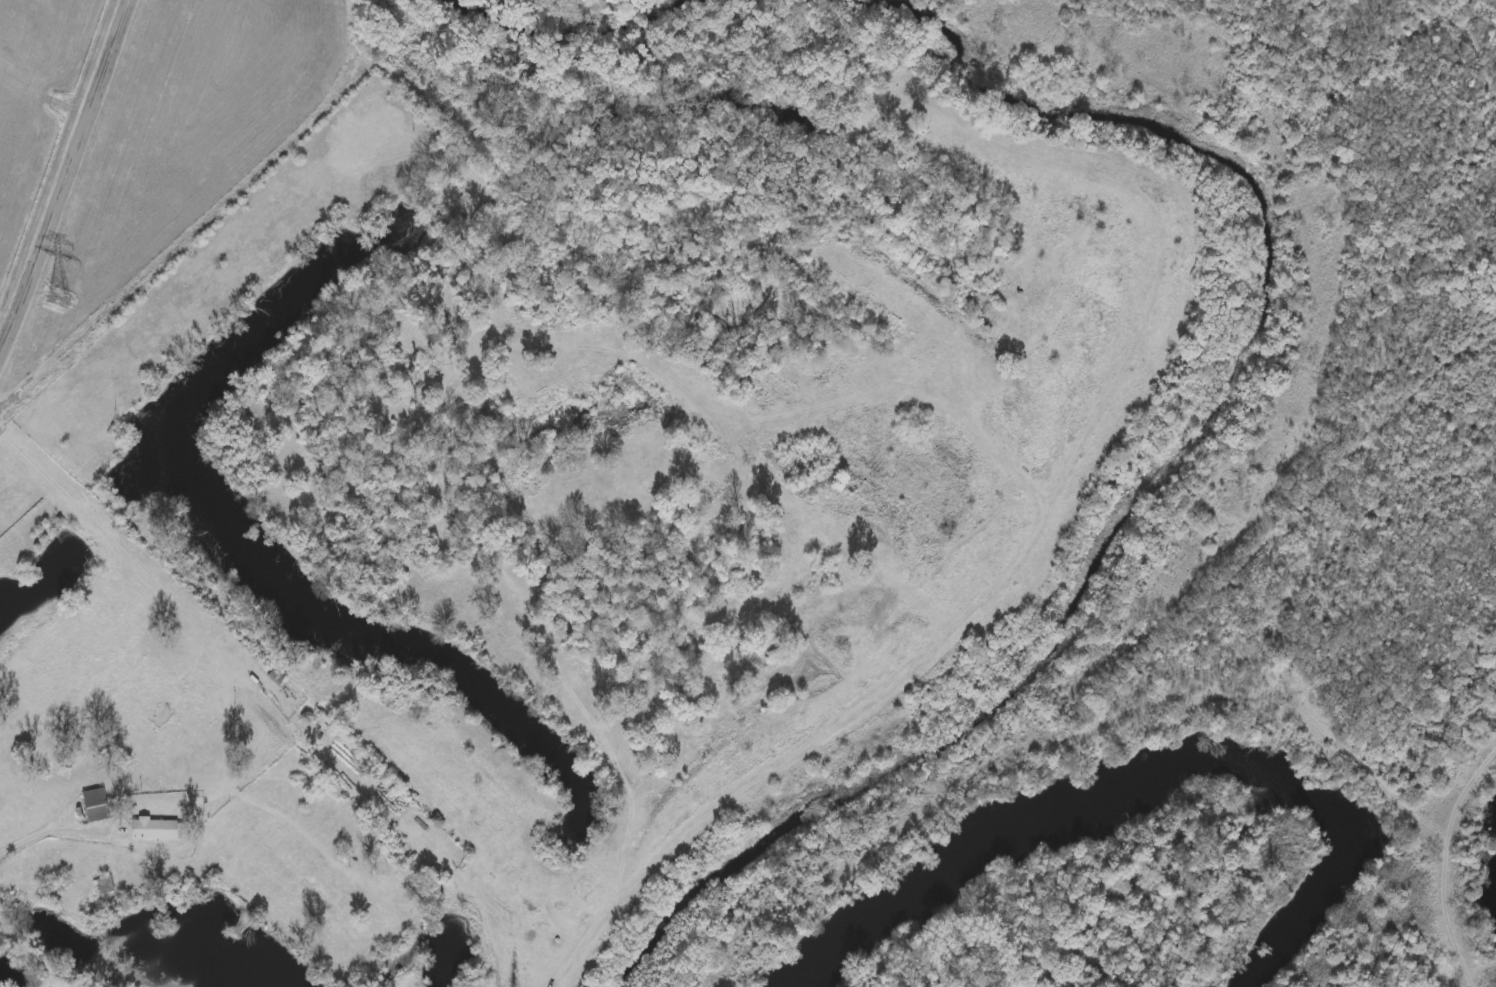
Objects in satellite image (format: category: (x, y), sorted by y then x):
building: (455, 146)
road: (66, 191)
road: (191, 239)
power tower: (50, 320)
road: (112, 537)
road: (1023, 559)
road: (226, 725)
building: (92, 802)
building: (153, 825)
road: (52, 835)
road: (1445, 867)
road: (36, 950)

